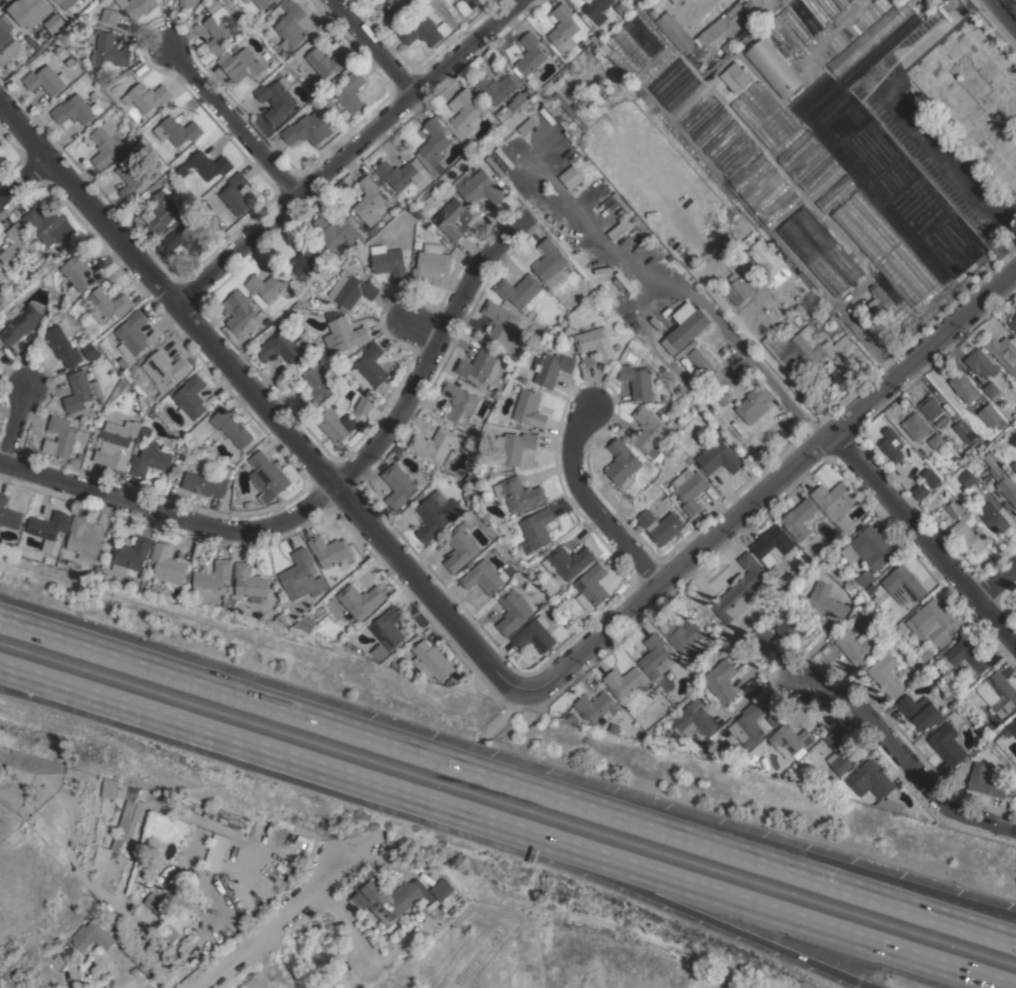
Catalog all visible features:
building: (246, 1)
building: (277, 1)
building: (676, 1)
building: (66, 3)
building: (111, 3)
building: (187, 3)
building: (262, 3)
building: (473, 3)
building: (637, 4)
building: (137, 6)
building: (620, 7)
building: (597, 9)
building: (397, 10)
road: (1004, 12)
building: (32, 14)
building: (109, 15)
building: (64, 23)
building: (293, 24)
building: (217, 26)
building: (242, 26)
building: (563, 29)
road: (832, 29)
building: (698, 30)
building: (424, 31)
building: (593, 37)
building: (7, 43)
building: (33, 43)
building: (583, 43)
road: (371, 48)
building: (110, 49)
building: (283, 55)
building: (530, 55)
road: (983, 57)
building: (326, 61)
building: (70, 62)
building: (240, 64)
building: (774, 67)
building: (739, 74)
building: (46, 79)
building: (534, 83)
building: (492, 87)
building: (350, 92)
building: (574, 92)
building: (147, 96)
building: (276, 99)
building: (75, 110)
building: (570, 110)
building: (465, 113)
road: (904, 114)
road: (232, 122)
building: (527, 125)
building: (308, 129)
building: (177, 130)
building: (1, 142)
building: (105, 144)
building: (469, 144)
building: (434, 145)
road: (349, 153)
building: (205, 165)
building: (398, 173)
road: (23, 177)
building: (571, 177)
building: (131, 180)
building: (479, 187)
building: (765, 190)
building: (236, 195)
building: (369, 200)
building: (160, 210)
building: (449, 213)
building: (429, 221)
building: (46, 223)
building: (372, 230)
building: (617, 230)
building: (334, 232)
building: (185, 239)
building: (417, 244)
building: (16, 245)
building: (821, 253)
building: (304, 255)
building: (336, 257)
building: (670, 257)
building: (651, 259)
building: (762, 260)
building: (389, 262)
building: (431, 262)
building: (550, 262)
building: (79, 268)
building: (1, 277)
building: (732, 277)
building: (267, 284)
building: (352, 290)
building: (522, 292)
building: (741, 295)
building: (879, 300)
building: (55, 301)
building: (108, 304)
road: (707, 310)
building: (239, 312)
building: (857, 315)
building: (867, 318)
building: (20, 322)
building: (1013, 324)
building: (502, 325)
building: (686, 326)
road: (424, 330)
building: (132, 334)
road: (860, 334)
building: (344, 336)
building: (99, 341)
building: (63, 346)
building: (617, 346)
building: (283, 347)
building: (595, 347)
building: (801, 348)
building: (1001, 348)
building: (91, 350)
road: (430, 356)
building: (338, 359)
building: (981, 363)
building: (480, 364)
building: (704, 366)
building: (740, 366)
building: (165, 367)
building: (370, 367)
building: (551, 367)
building: (637, 380)
building: (120, 385)
building: (316, 387)
building: (965, 387)
building: (992, 390)
building: (81, 391)
building: (722, 397)
building: (191, 398)
road: (259, 401)
building: (755, 403)
building: (461, 404)
building: (364, 405)
building: (930, 407)
building: (530, 408)
building: (661, 412)
building: (668, 416)
building: (93, 417)
road: (15, 423)
building: (336, 424)
building: (916, 425)
building: (231, 427)
building: (649, 430)
building: (964, 431)
building: (64, 437)
building: (936, 441)
building: (114, 442)
building: (950, 442)
building: (436, 444)
building: (892, 445)
building: (515, 446)
building: (955, 447)
building: (183, 448)
building: (399, 449)
building: (81, 456)
building: (719, 457)
building: (150, 460)
building: (75, 461)
building: (623, 463)
building: (1014, 465)
building: (225, 469)
building: (267, 476)
building: (931, 477)
building: (967, 478)
building: (1002, 478)
building: (205, 483)
road: (771, 484)
building: (399, 485)
building: (945, 487)
building: (920, 490)
building: (691, 492)
building: (521, 494)
building: (468, 497)
building: (932, 500)
road: (592, 503)
building: (837, 503)
building: (248, 504)
building: (954, 505)
road: (170, 512)
building: (9, 514)
building: (437, 514)
building: (993, 517)
building: (799, 518)
building: (661, 524)
building: (49, 528)
building: (537, 529)
building: (969, 535)
building: (85, 538)
road: (921, 540)
building: (772, 544)
building: (461, 547)
building: (870, 547)
building: (332, 551)
building: (131, 554)
building: (568, 561)
building: (167, 564)
building: (801, 570)
building: (214, 575)
building: (302, 575)
building: (484, 577)
building: (866, 577)
building: (332, 580)
road: (995, 580)
building: (251, 582)
building: (904, 584)
building: (592, 586)
building: (740, 589)
building: (871, 589)
building: (361, 599)
building: (826, 600)
building: (227, 602)
building: (513, 611)
building: (280, 617)
building: (792, 622)
building: (933, 622)
building: (388, 628)
building: (763, 634)
building: (535, 635)
building: (684, 636)
building: (857, 647)
building: (380, 652)
building: (928, 654)
building: (655, 656)
building: (966, 658)
building: (935, 659)
building: (432, 661)
building: (396, 665)
building: (912, 667)
building: (886, 674)
building: (721, 680)
building: (626, 681)
building: (653, 691)
building: (668, 692)
building: (1000, 692)
building: (597, 707)
building: (919, 712)
road: (501, 718)
building: (695, 718)
building: (775, 718)
building: (748, 725)
building: (1011, 729)
building: (642, 732)
building: (790, 739)
building: (653, 740)
building: (947, 744)
road: (261, 749)
building: (841, 752)
road: (900, 757)
building: (726, 759)
road: (507, 779)
building: (871, 779)
building: (986, 780)
building: (110, 784)
building: (890, 803)
building: (124, 812)
building: (237, 825)
building: (133, 826)
building: (199, 828)
building: (273, 829)
building: (263, 833)
road: (752, 843)
road: (358, 849)
building: (215, 852)
building: (441, 889)
building: (388, 897)
building: (166, 898)
road: (767, 910)
road: (694, 913)
road: (268, 930)
building: (169, 933)
building: (92, 936)
building: (347, 946)
building: (406, 955)
building: (58, 961)
building: (352, 964)
building: (374, 974)
road: (69, 981)

